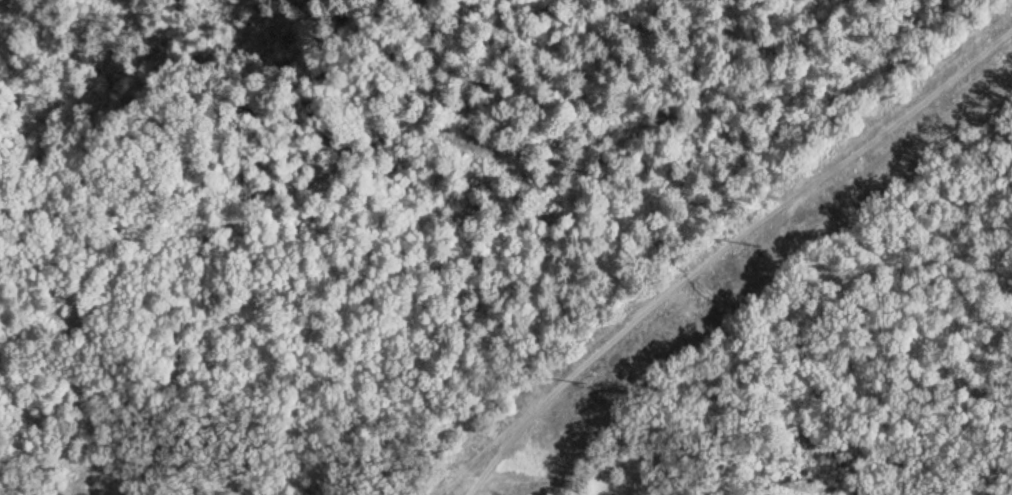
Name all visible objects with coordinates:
road: (550, 473)

